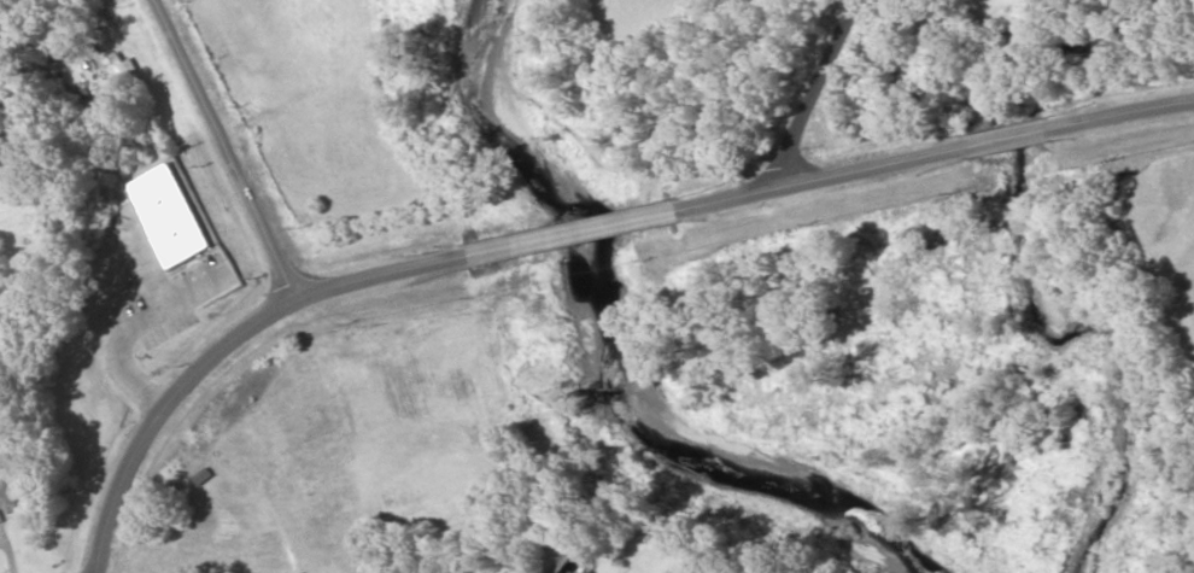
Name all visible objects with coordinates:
building: (119, 72)
road: (855, 74)
road: (223, 144)
road: (563, 218)
building: (170, 287)
building: (8, 498)
building: (597, 572)

